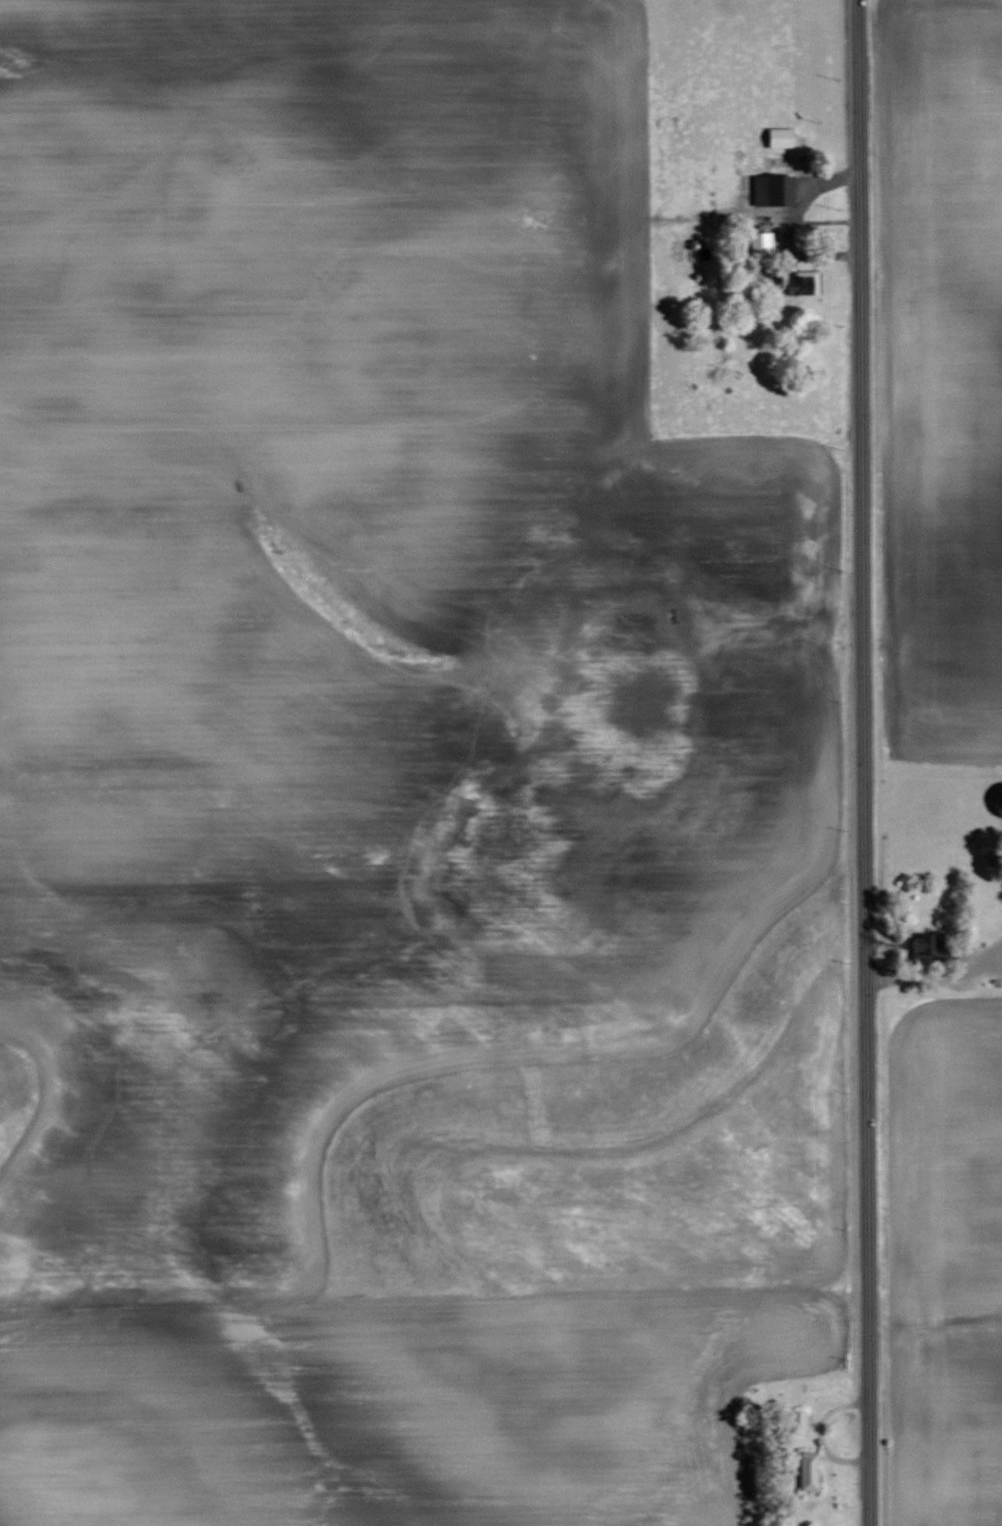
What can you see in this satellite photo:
building: (782, 137)
building: (776, 189)
building: (800, 283)
road: (866, 763)
building: (1000, 794)
building: (934, 946)
building: (799, 1422)
building: (810, 1470)

